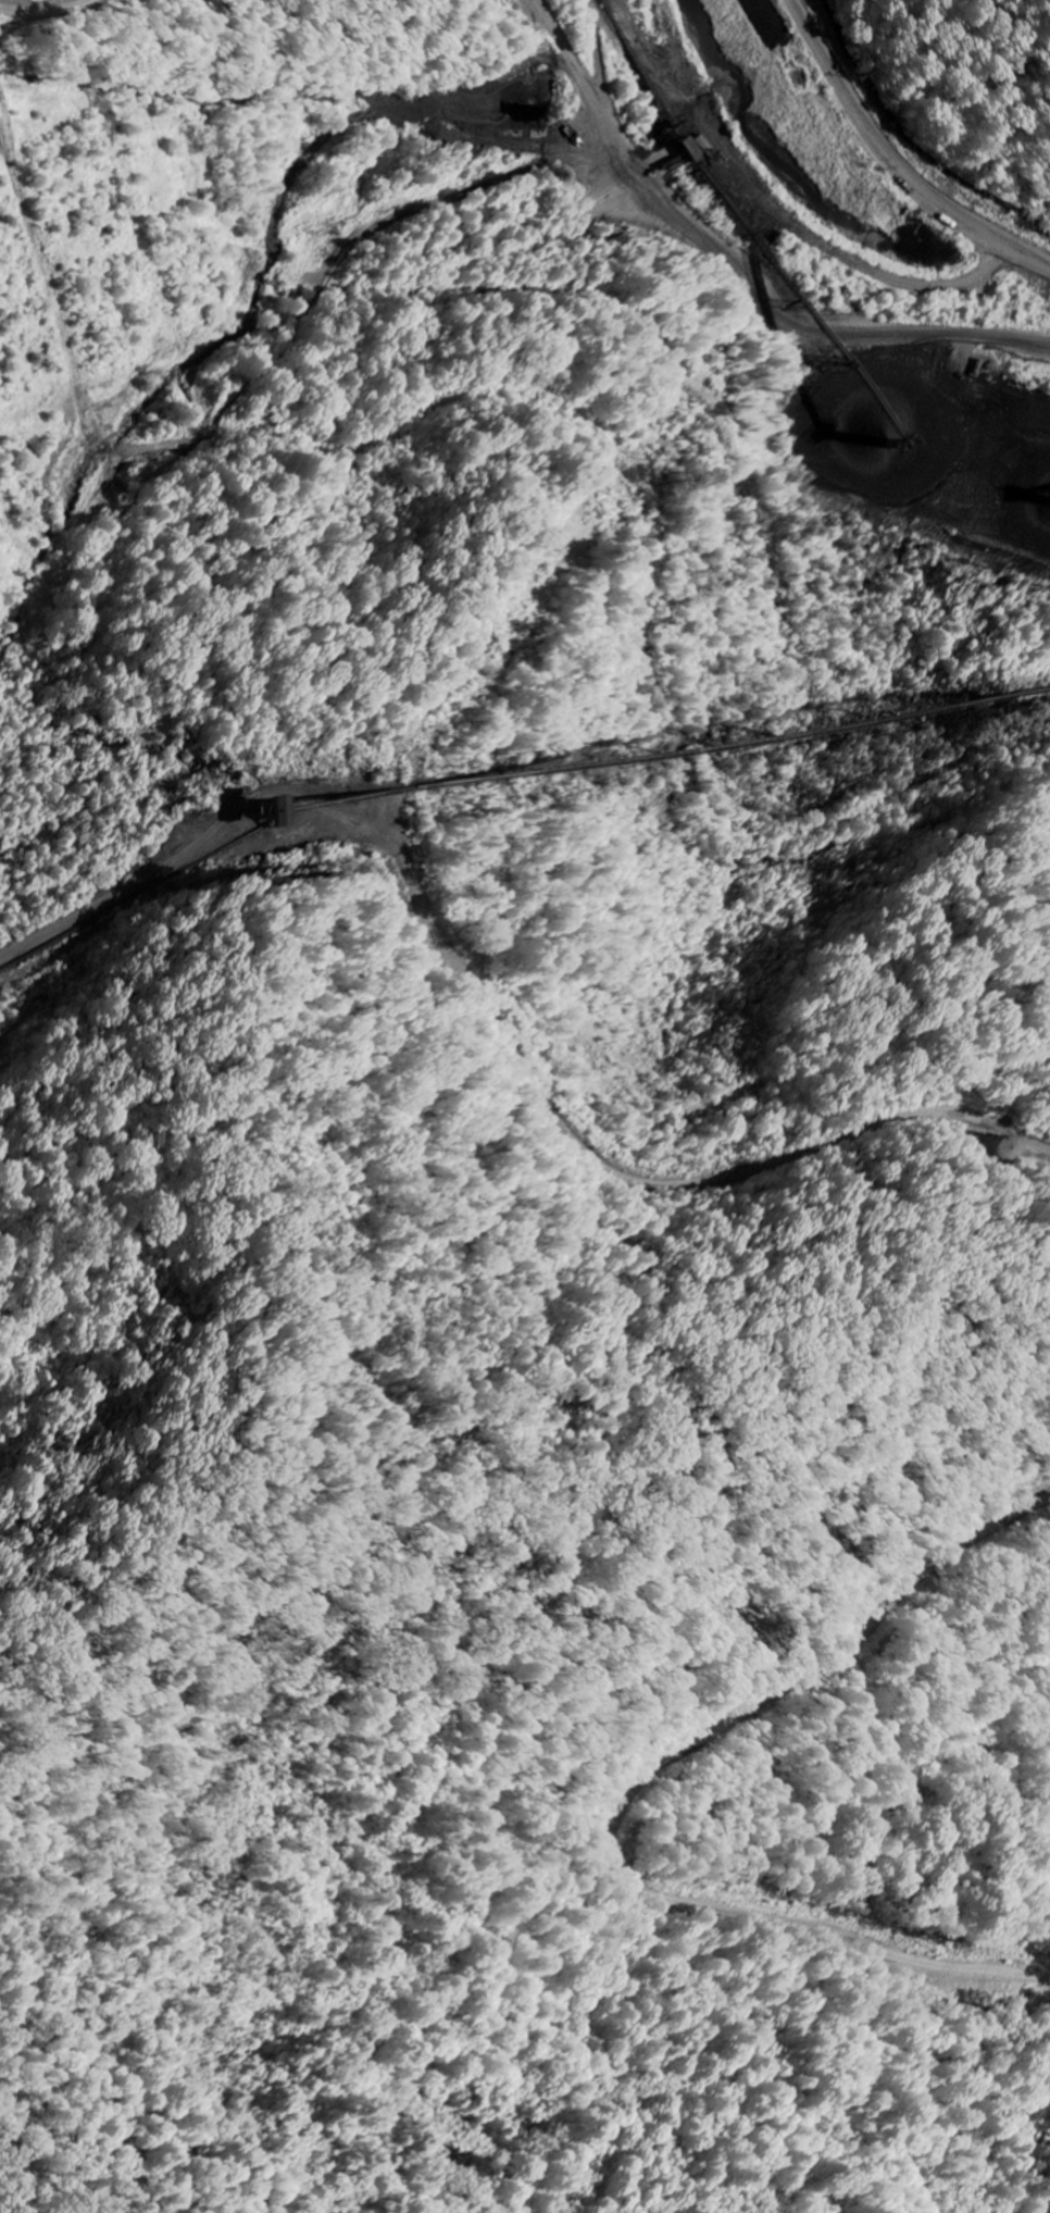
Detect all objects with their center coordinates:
road: (850, 185)

